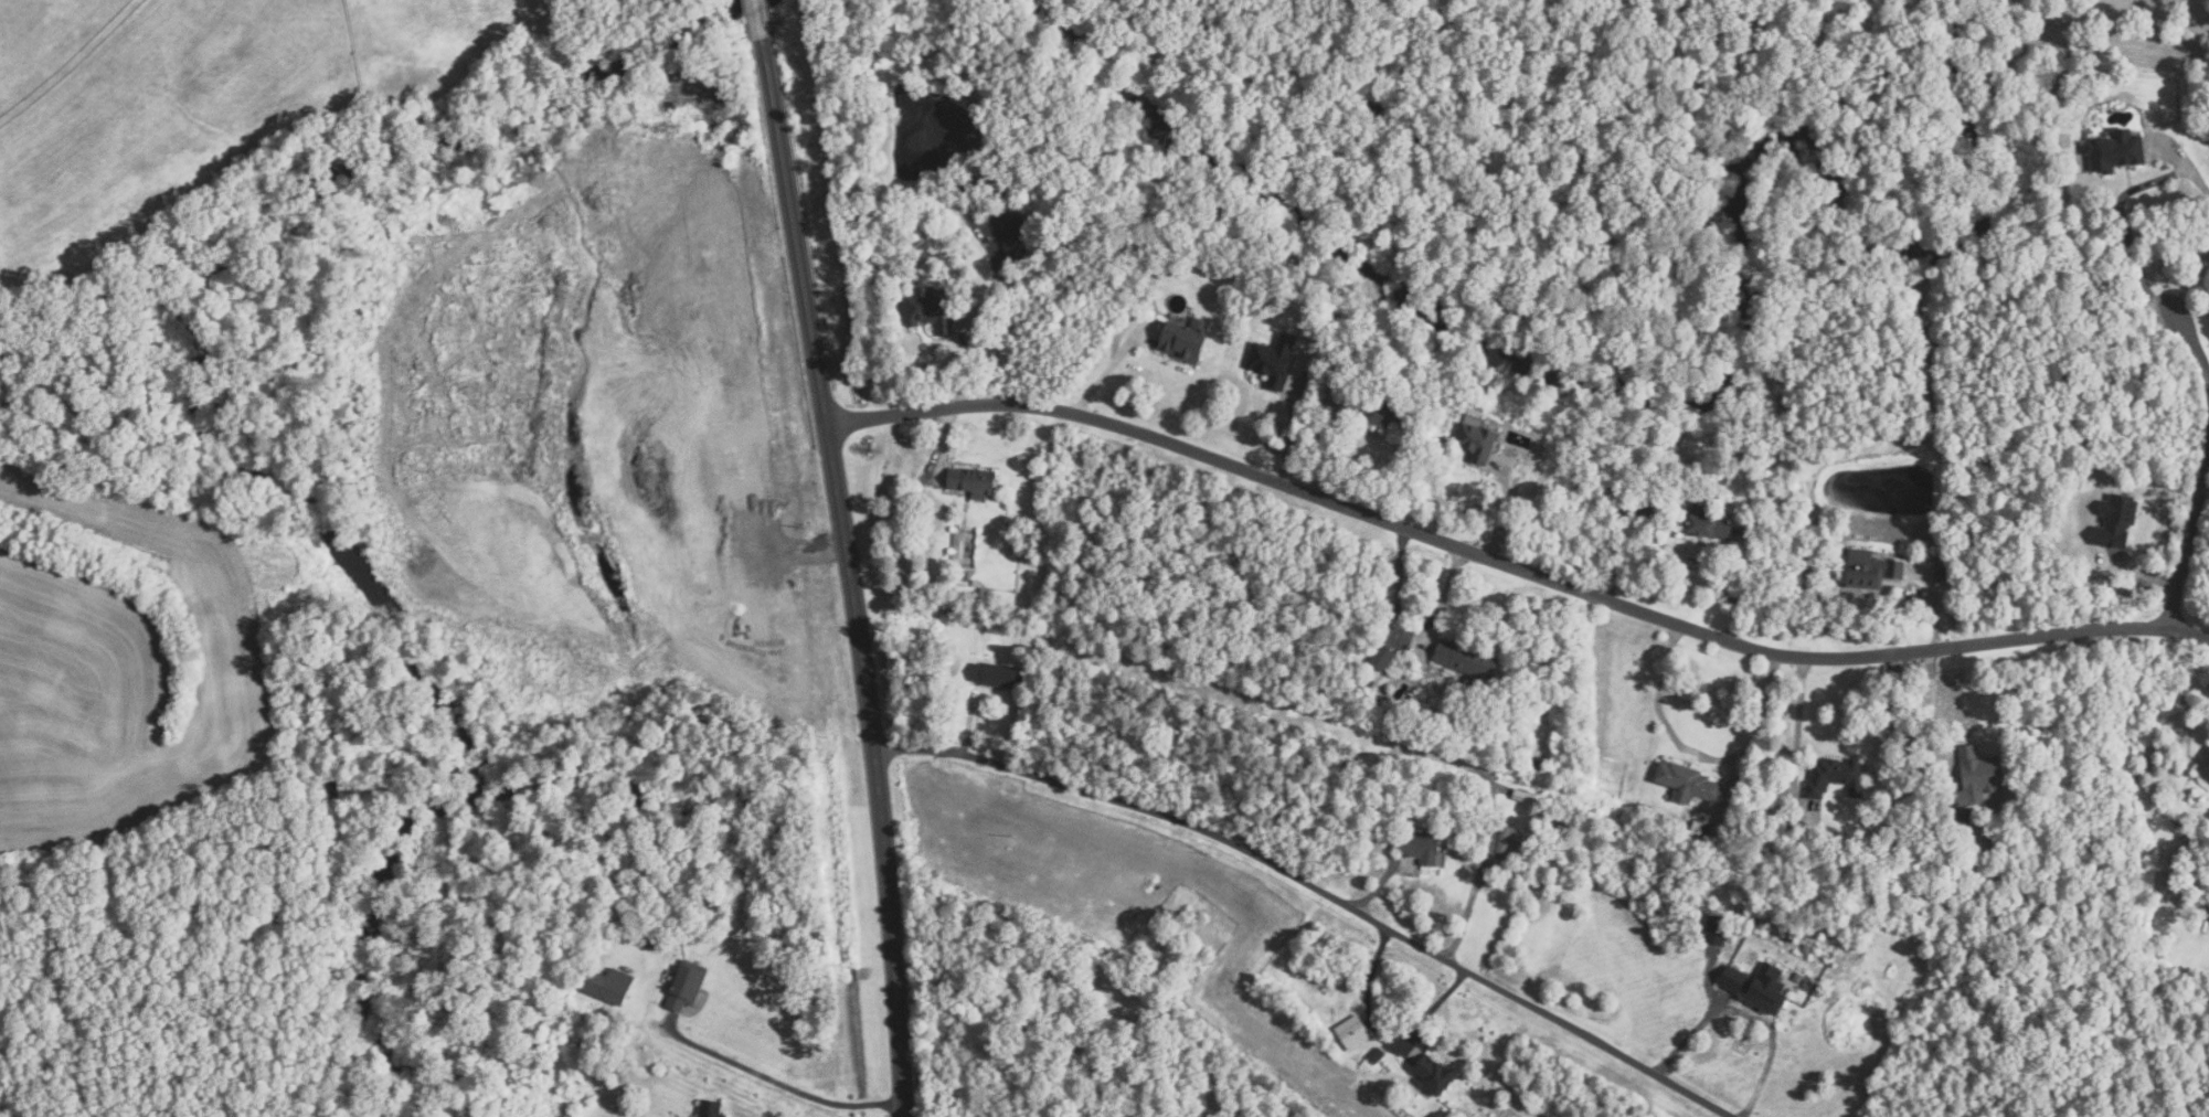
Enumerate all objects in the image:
road: (761, 19)
road: (71, 63)
building: (2115, 150)
building: (1013, 238)
road: (2128, 238)
building: (1119, 252)
building: (930, 310)
road: (2190, 332)
building: (1183, 340)
building: (1272, 361)
road: (964, 364)
road: (1108, 370)
building: (1381, 415)
road: (1288, 429)
building: (1476, 442)
road: (943, 443)
road: (1324, 449)
building: (971, 480)
road: (1506, 506)
building: (1626, 507)
building: (1649, 507)
building: (1707, 522)
building: (2111, 525)
building: (1767, 526)
road: (2188, 546)
road: (1512, 566)
building: (1871, 567)
building: (1941, 573)
building: (1954, 573)
road: (856, 575)
building: (975, 582)
road: (2136, 584)
road: (1740, 588)
building: (981, 592)
road: (1398, 595)
road: (1443, 596)
road: (1933, 604)
building: (1403, 635)
building: (1383, 656)
building: (1465, 658)
building: (1063, 673)
building: (996, 674)
building: (1368, 681)
road: (1929, 706)
building: (1540, 709)
road: (1797, 723)
road: (1696, 754)
building: (1541, 764)
building: (2205, 766)
building: (1834, 775)
building: (1977, 776)
building: (1687, 780)
building: (1525, 796)
building: (1645, 808)
building: (1966, 818)
building: (1693, 823)
building: (1505, 838)
building: (1421, 845)
building: (1992, 852)
building: (2196, 868)
road: (1384, 879)
building: (1909, 885)
road: (1321, 894)
road: (1466, 913)
building: (1716, 929)
building: (1789, 936)
building: (1733, 978)
building: (609, 985)
building: (682, 989)
building: (1769, 989)
road: (1753, 1009)
building: (1352, 1032)
road: (1384, 1039)
building: (1376, 1055)
building: (1434, 1073)
road: (777, 1083)
building: (710, 1108)

